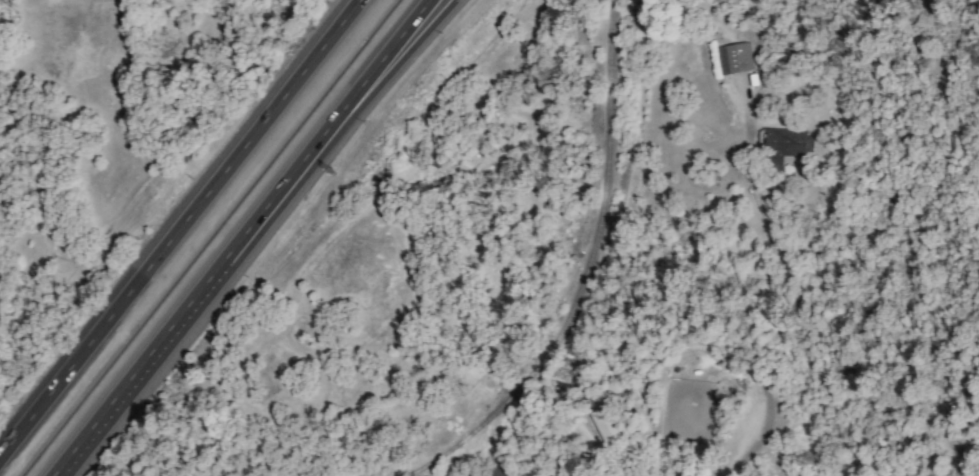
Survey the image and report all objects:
building: (733, 58)
road: (389, 63)
building: (782, 147)
road: (183, 230)
road: (246, 236)
road: (782, 286)
railway: (578, 294)
building: (603, 424)
road: (735, 468)

